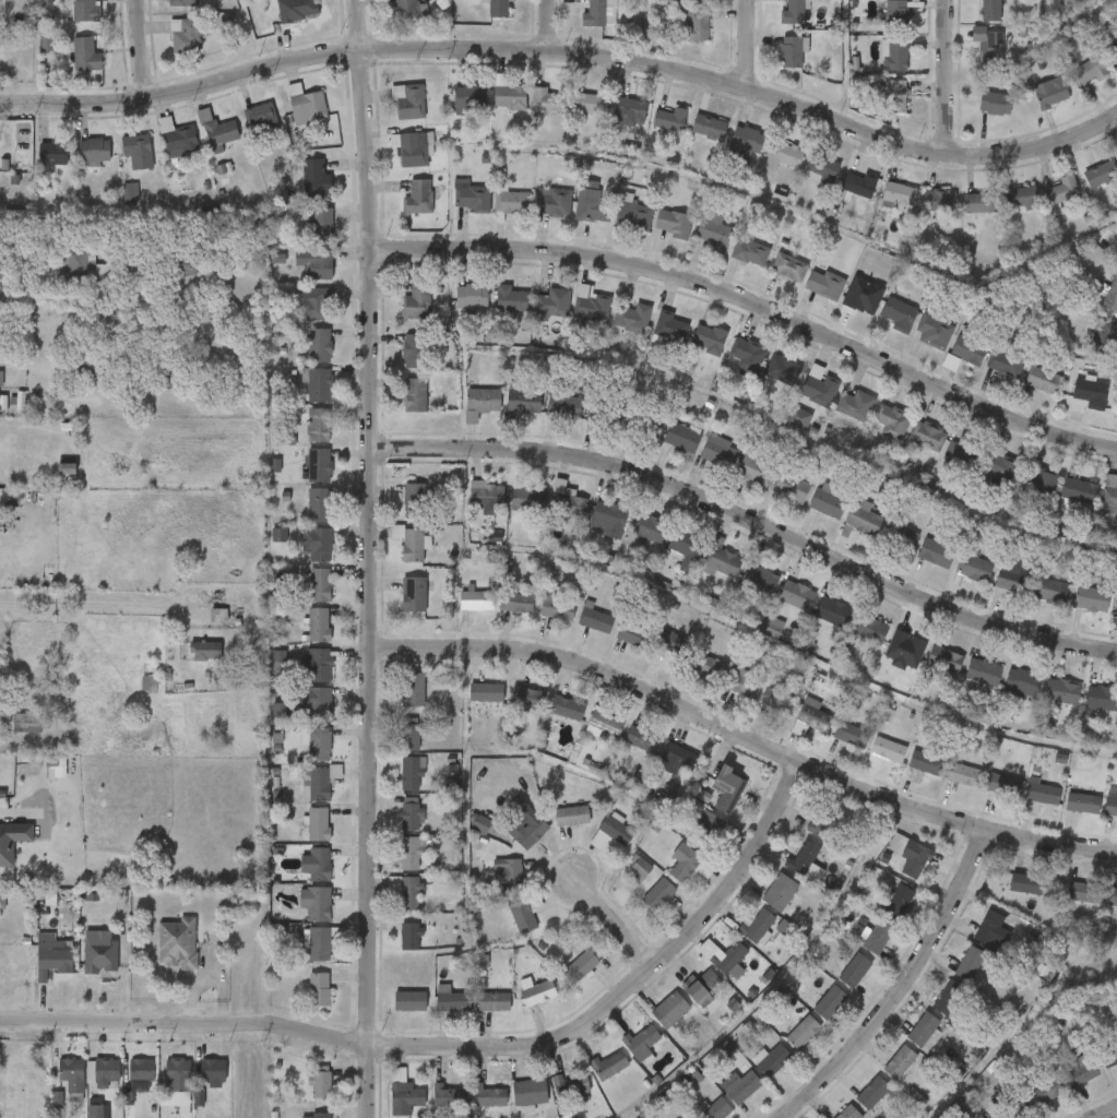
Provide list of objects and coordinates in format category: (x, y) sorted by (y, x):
building: (0, 1)
building: (182, 2)
building: (499, 8)
building: (405, 9)
building: (86, 10)
building: (990, 10)
building: (793, 12)
building: (597, 13)
building: (295, 14)
building: (896, 14)
road: (549, 19)
building: (696, 24)
building: (185, 35)
road: (750, 37)
road: (566, 39)
building: (991, 48)
road: (142, 49)
building: (792, 50)
building: (1113, 50)
building: (86, 53)
building: (895, 53)
building: (1089, 70)
road: (949, 71)
building: (1049, 93)
building: (895, 95)
building: (470, 96)
building: (510, 96)
building: (547, 99)
building: (409, 100)
building: (590, 103)
building: (995, 103)
building: (308, 105)
building: (630, 109)
building: (261, 118)
building: (670, 119)
building: (710, 127)
building: (218, 128)
building: (0, 132)
building: (180, 139)
building: (746, 142)
building: (413, 147)
building: (94, 150)
building: (136, 151)
building: (52, 153)
building: (783, 154)
building: (822, 165)
building: (1102, 173)
building: (317, 175)
building: (858, 183)
building: (1062, 189)
building: (899, 191)
building: (131, 193)
building: (418, 197)
building: (1021, 197)
building: (471, 199)
building: (939, 200)
building: (513, 201)
building: (554, 201)
building: (981, 202)
building: (593, 207)
building: (634, 215)
building: (673, 223)
building: (320, 224)
building: (714, 234)
building: (750, 250)
building: (318, 263)
building: (135, 264)
building: (789, 266)
building: (85, 267)
building: (188, 269)
building: (825, 283)
building: (471, 294)
building: (1112, 295)
building: (510, 296)
building: (860, 298)
building: (417, 300)
building: (552, 301)
building: (319, 302)
road: (753, 304)
building: (593, 307)
building: (900, 313)
building: (98, 317)
building: (633, 317)
building: (672, 325)
building: (934, 332)
building: (1102, 332)
building: (709, 337)
building: (319, 344)
building: (969, 348)
building: (415, 349)
building: (748, 353)
building: (951, 362)
building: (1006, 362)
building: (783, 368)
building: (87, 369)
building: (0, 379)
building: (1043, 379)
building: (318, 383)
building: (819, 385)
building: (415, 393)
building: (1089, 393)
building: (483, 399)
building: (524, 400)
building: (565, 404)
building: (856, 404)
building: (605, 411)
building: (799, 418)
building: (891, 420)
building: (645, 423)
building: (319, 425)
building: (927, 436)
building: (681, 437)
building: (720, 450)
building: (982, 462)
building: (319, 464)
building: (67, 468)
building: (756, 468)
building: (1039, 483)
building: (792, 486)
building: (1078, 489)
building: (486, 495)
building: (1109, 495)
building: (415, 498)
building: (526, 498)
building: (825, 500)
building: (319, 503)
building: (568, 504)
building: (608, 518)
building: (864, 519)
road: (750, 520)
building: (649, 527)
building: (280, 535)
building: (901, 538)
building: (411, 542)
building: (321, 545)
building: (687, 546)
building: (936, 551)
building: (723, 557)
road: (370, 558)
building: (974, 567)
building: (760, 578)
building: (320, 584)
building: (1033, 585)
building: (414, 593)
building: (797, 594)
building: (1092, 597)
building: (477, 598)
building: (516, 602)
building: (558, 605)
road: (97, 606)
building: (833, 610)
building: (219, 615)
building: (595, 617)
building: (319, 623)
building: (773, 627)
building: (869, 627)
building: (634, 633)
building: (674, 642)
building: (906, 643)
building: (206, 651)
building: (948, 662)
building: (280, 663)
building: (320, 664)
building: (708, 666)
building: (984, 669)
building: (1022, 681)
building: (742, 683)
building: (414, 689)
building: (1062, 689)
building: (486, 691)
building: (527, 697)
building: (1102, 697)
building: (779, 700)
building: (319, 702)
building: (567, 706)
building: (280, 711)
building: (810, 717)
building: (606, 722)
building: (32, 723)
building: (851, 733)
building: (409, 734)
building: (640, 737)
road: (744, 737)
building: (13, 741)
building: (319, 742)
building: (888, 748)
building: (678, 756)
building: (926, 761)
building: (412, 772)
building: (964, 773)
building: (914, 775)
building: (319, 781)
building: (1003, 784)
building: (727, 788)
building: (1039, 795)
building: (1083, 801)
building: (1110, 805)
building: (572, 814)
road: (10, 816)
building: (411, 817)
building: (821, 822)
building: (319, 823)
building: (482, 824)
building: (720, 826)
building: (527, 831)
building: (610, 832)
building: (8, 851)
building: (411, 854)
building: (805, 857)
building: (917, 860)
building: (317, 863)
building: (685, 865)
building: (640, 866)
building: (508, 873)
building: (1026, 882)
building: (406, 890)
building: (780, 891)
building: (1082, 891)
building: (658, 893)
building: (1113, 895)
building: (900, 901)
building: (316, 903)
building: (2, 905)
building: (525, 912)
road: (614, 924)
building: (757, 924)
building: (409, 935)
building: (878, 936)
building: (320, 942)
building: (179, 943)
building: (983, 944)
building: (578, 947)
building: (100, 952)
building: (54, 956)
building: (730, 958)
building: (163, 963)
building: (580, 964)
building: (855, 970)
building: (84, 974)
building: (37, 982)
building: (702, 985)
road: (902, 987)
building: (320, 988)
building: (538, 991)
building: (950, 997)
building: (409, 999)
building: (452, 1000)
building: (492, 1000)
building: (830, 1001)
building: (670, 1009)
building: (924, 1028)
building: (804, 1031)
building: (643, 1038)
road: (465, 1046)
building: (1108, 1052)
building: (773, 1060)
building: (900, 1061)
building: (610, 1065)
building: (142, 1069)
building: (1083, 1069)
building: (213, 1070)
building: (103, 1072)
building: (72, 1074)
building: (179, 1075)
building: (571, 1082)
building: (740, 1082)
building: (320, 1083)
building: (139, 1085)
building: (126, 1089)
building: (198, 1089)
building: (1049, 1089)
building: (88, 1090)
building: (531, 1091)
building: (872, 1091)
building: (404, 1092)
building: (56, 1094)
building: (163, 1094)
building: (449, 1095)
building: (489, 1095)
building: (97, 1108)
building: (716, 1108)
building: (1014, 1108)
building: (848, 1113)
building: (41, 1114)
building: (183, 1114)
road: (1110, 1114)
building: (321, 1115)
building: (978, 1116)
building: (79, 1117)

